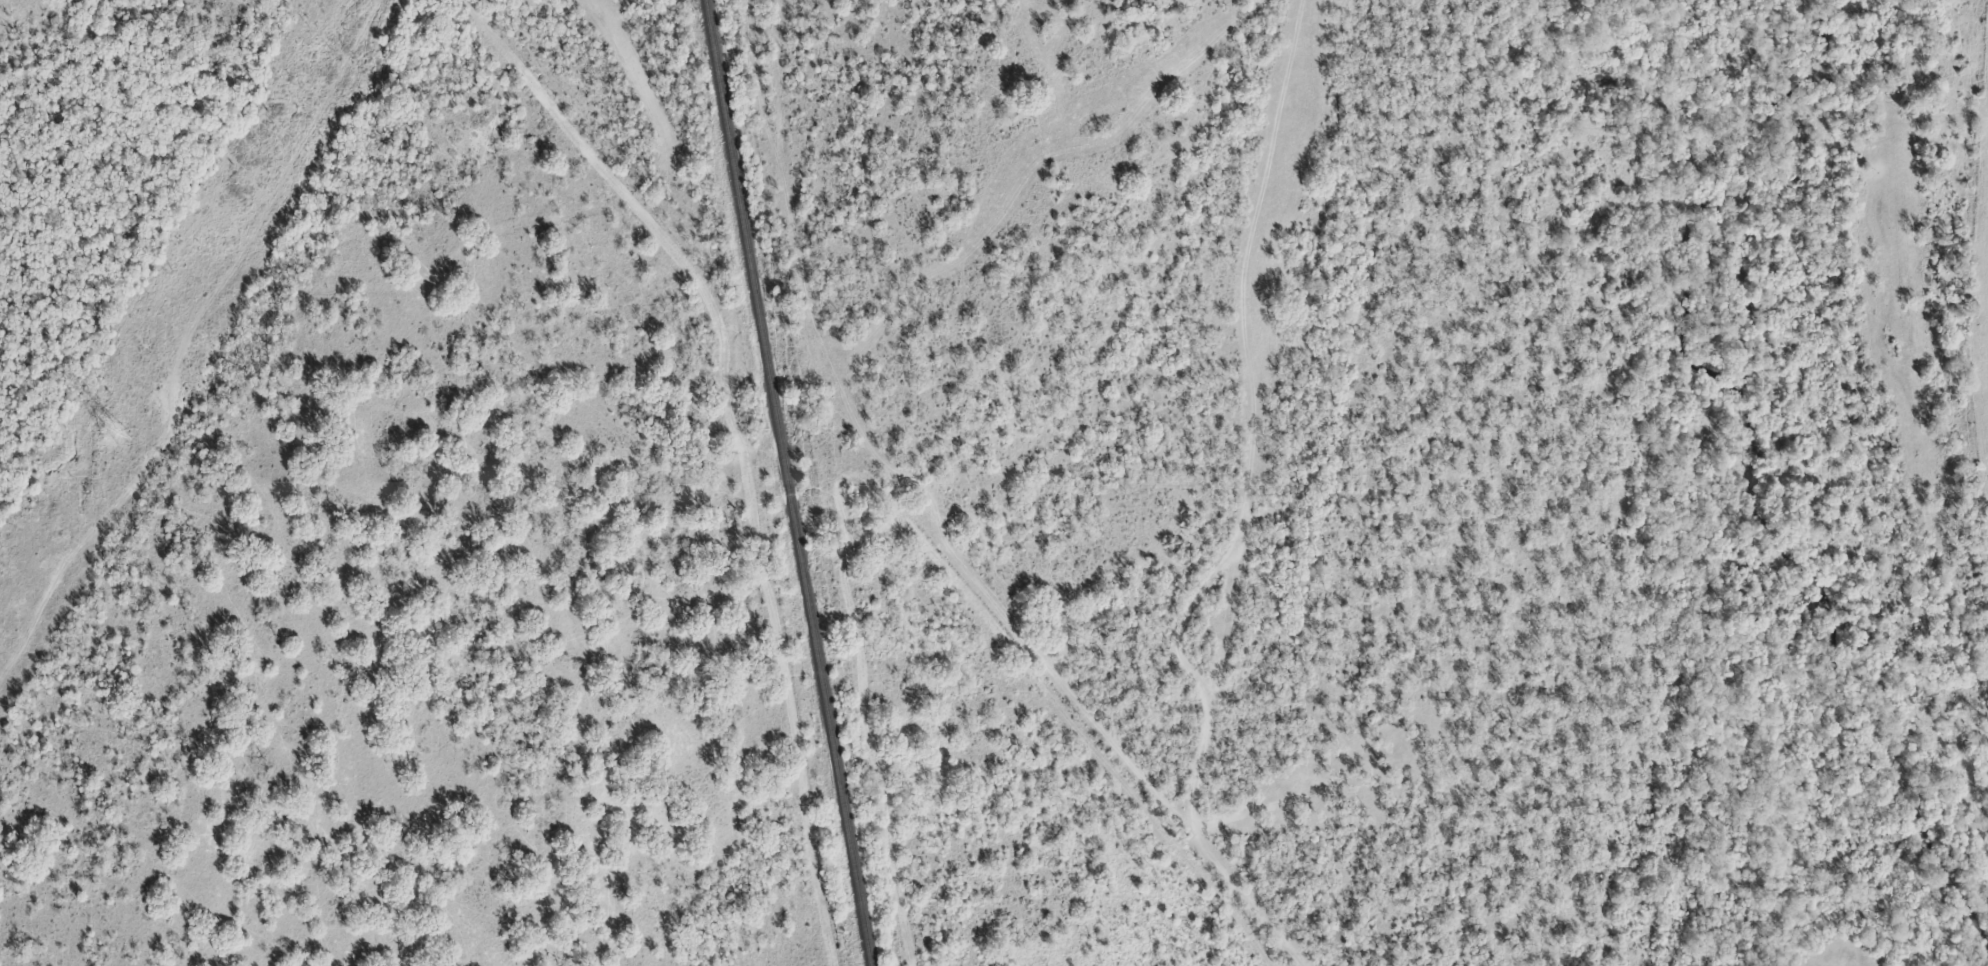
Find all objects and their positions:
river: (1770, 90)
power tower: (109, 432)
railway: (786, 482)
river: (1798, 562)

